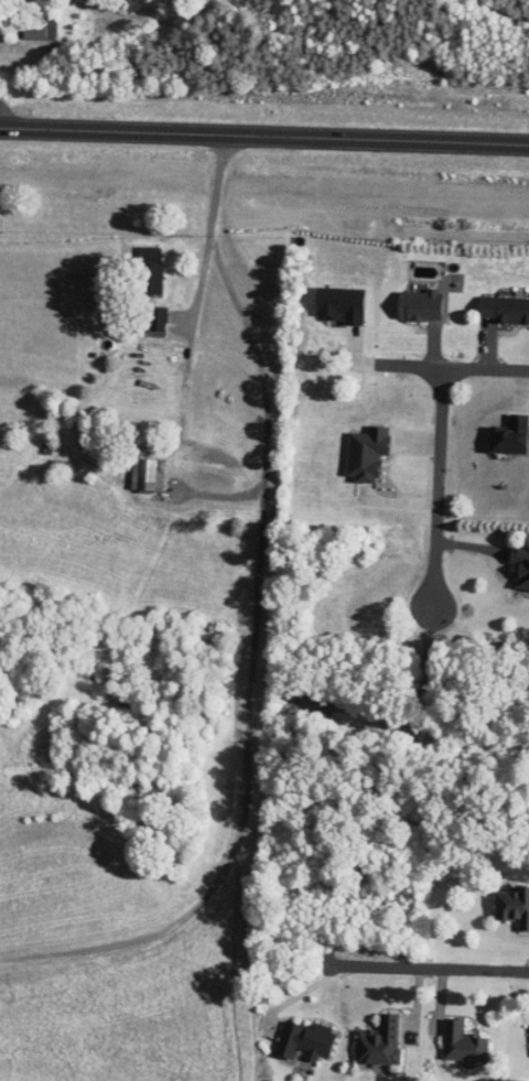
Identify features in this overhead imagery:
building: (36, 25)
road: (264, 134)
road: (208, 230)
building: (145, 271)
building: (415, 306)
building: (501, 310)
building: (155, 323)
road: (451, 369)
road: (259, 396)
building: (61, 469)
building: (145, 476)
road: (432, 489)
building: (518, 569)
building: (510, 908)
road: (429, 969)
building: (306, 1041)
building: (378, 1042)
building: (462, 1046)

